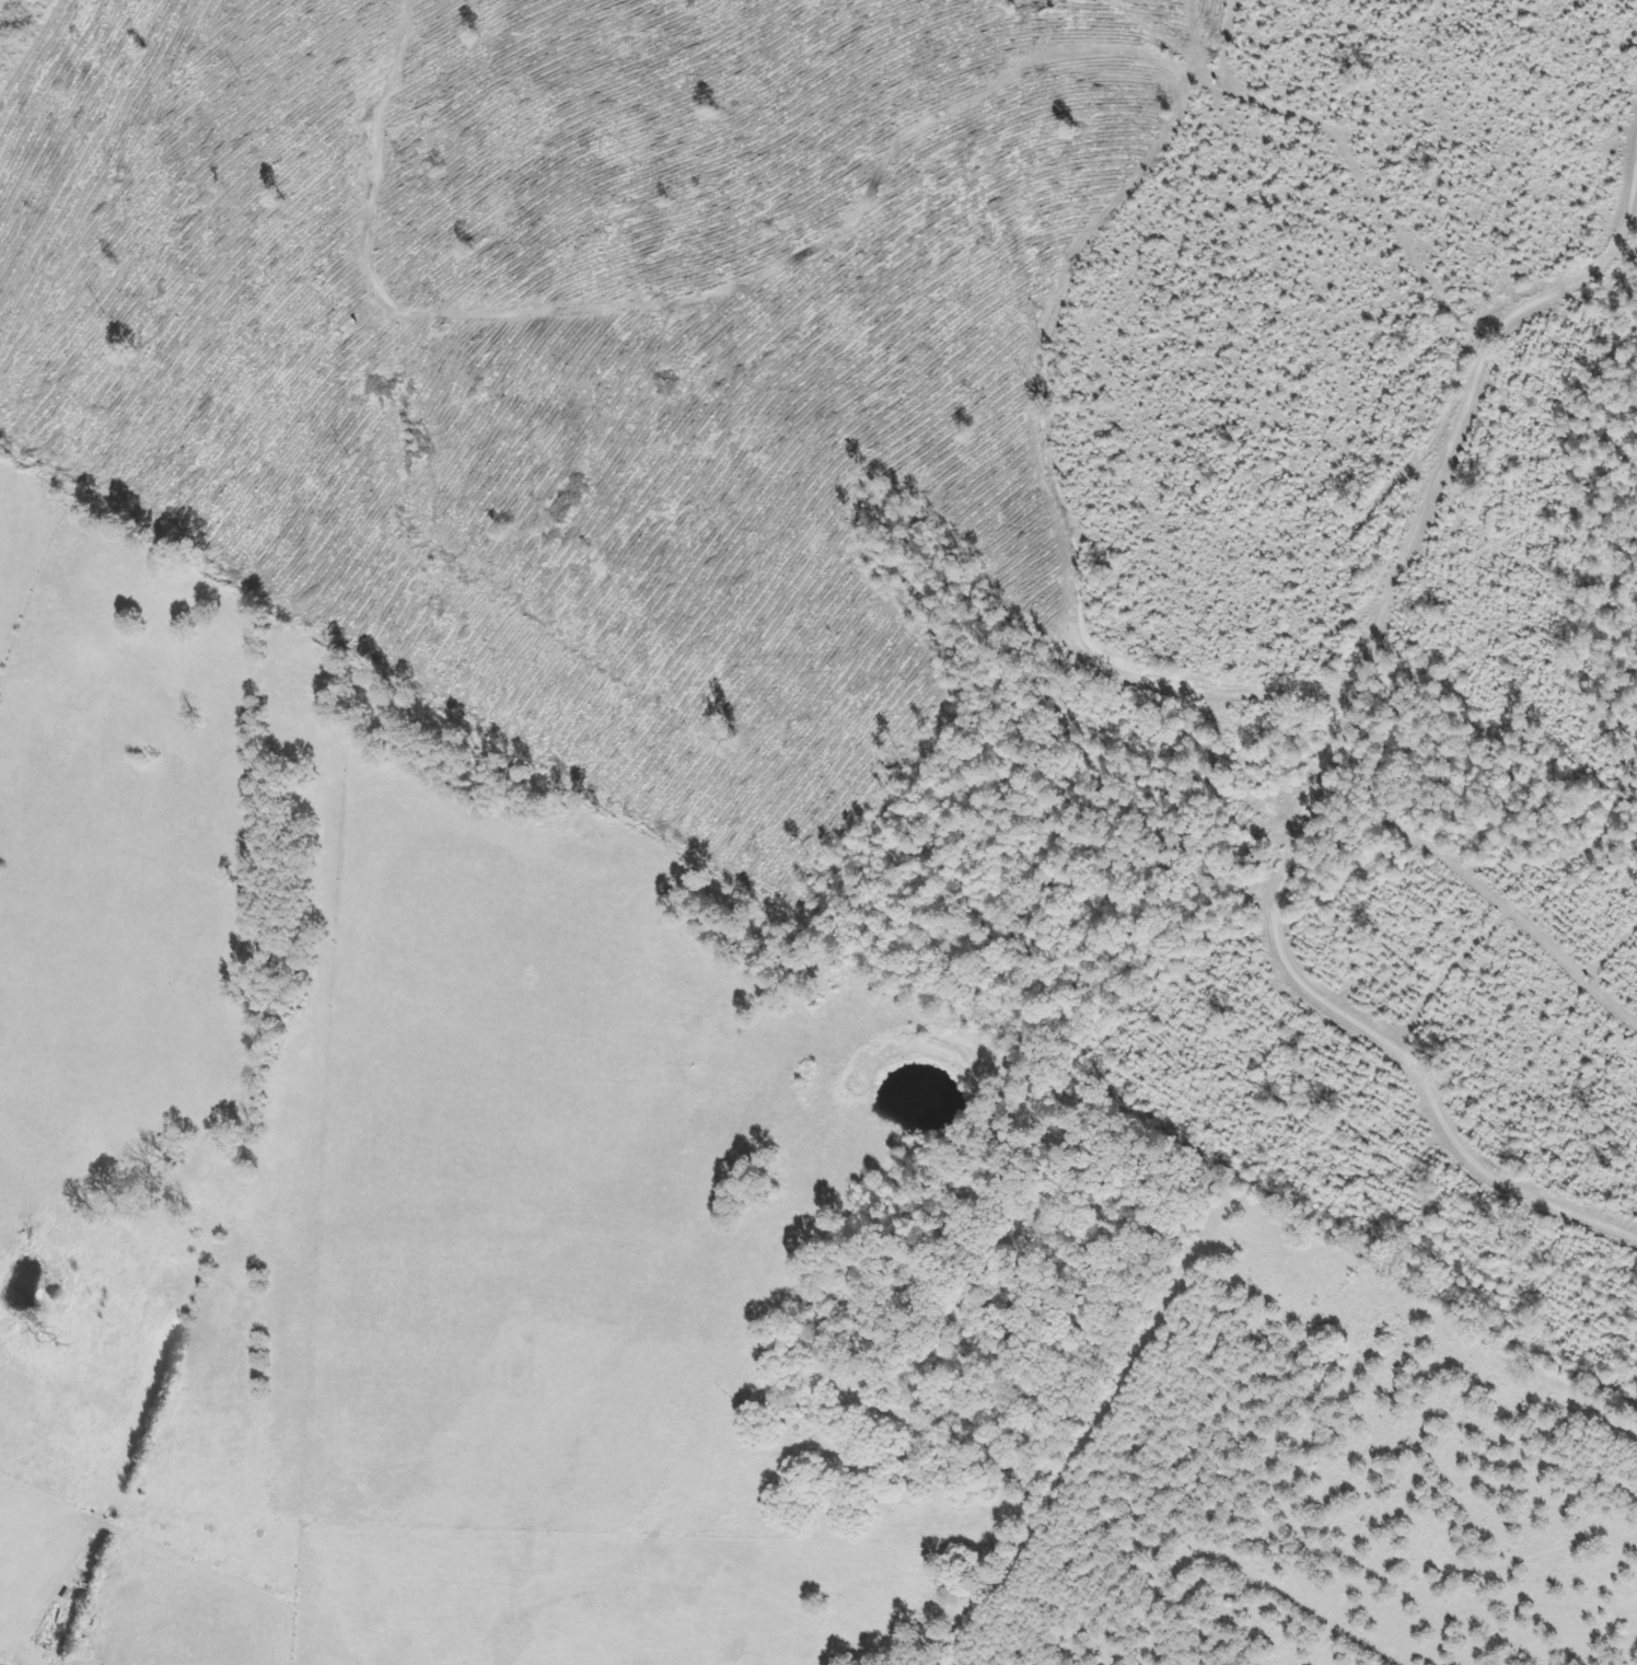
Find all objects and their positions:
road: (1334, 687)

